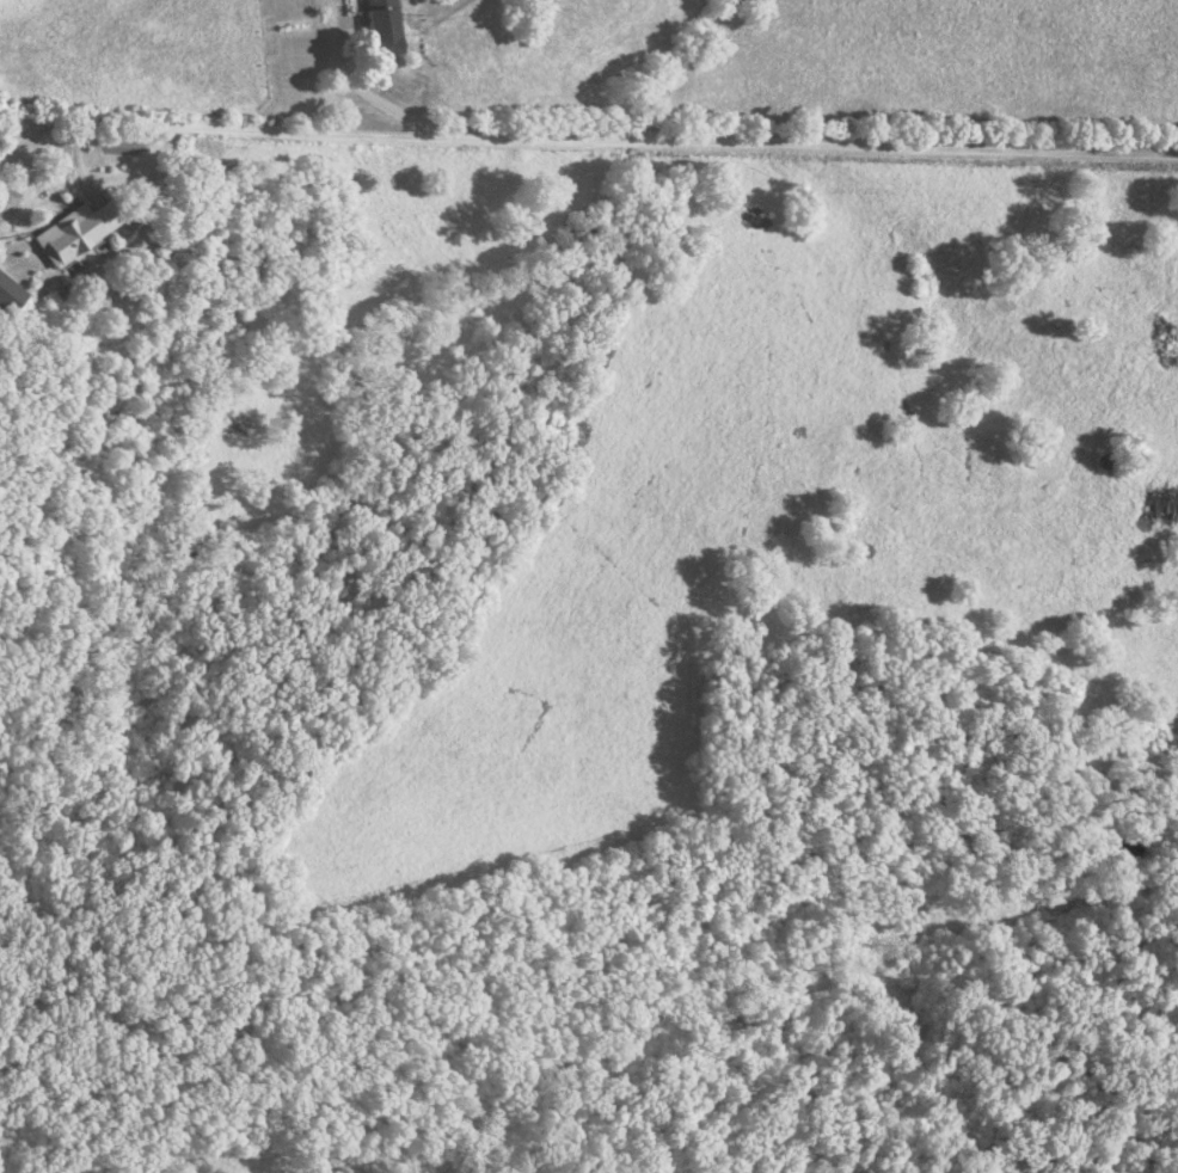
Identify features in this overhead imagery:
building: (385, 41)
road: (355, 82)
road: (588, 145)
building: (79, 233)
building: (11, 296)

